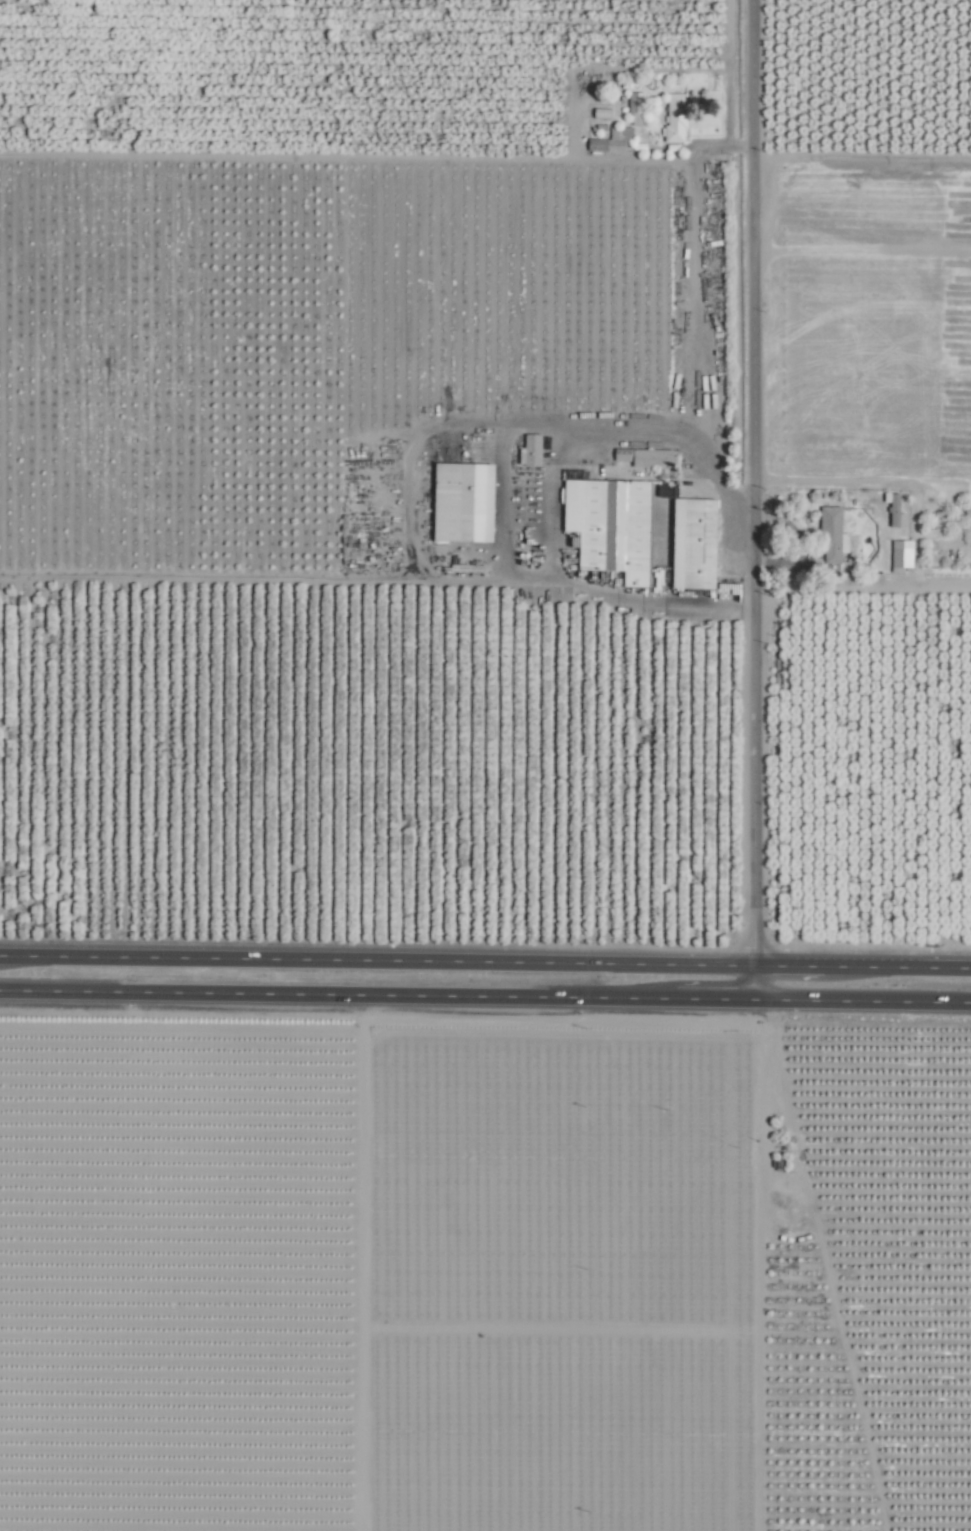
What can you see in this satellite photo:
building: (634, 108)
building: (674, 118)
building: (610, 140)
road: (642, 161)
road: (693, 301)
road: (430, 429)
building: (531, 449)
building: (650, 457)
road: (753, 499)
building: (460, 501)
building: (968, 510)
building: (894, 512)
building: (608, 525)
building: (830, 535)
building: (692, 543)
building: (900, 554)
road: (644, 609)
road: (706, 609)
road: (745, 610)
crop: (485, 765)
road: (376, 960)
road: (788, 965)
road: (897, 966)
road: (337, 993)
road: (713, 998)
road: (862, 1000)

